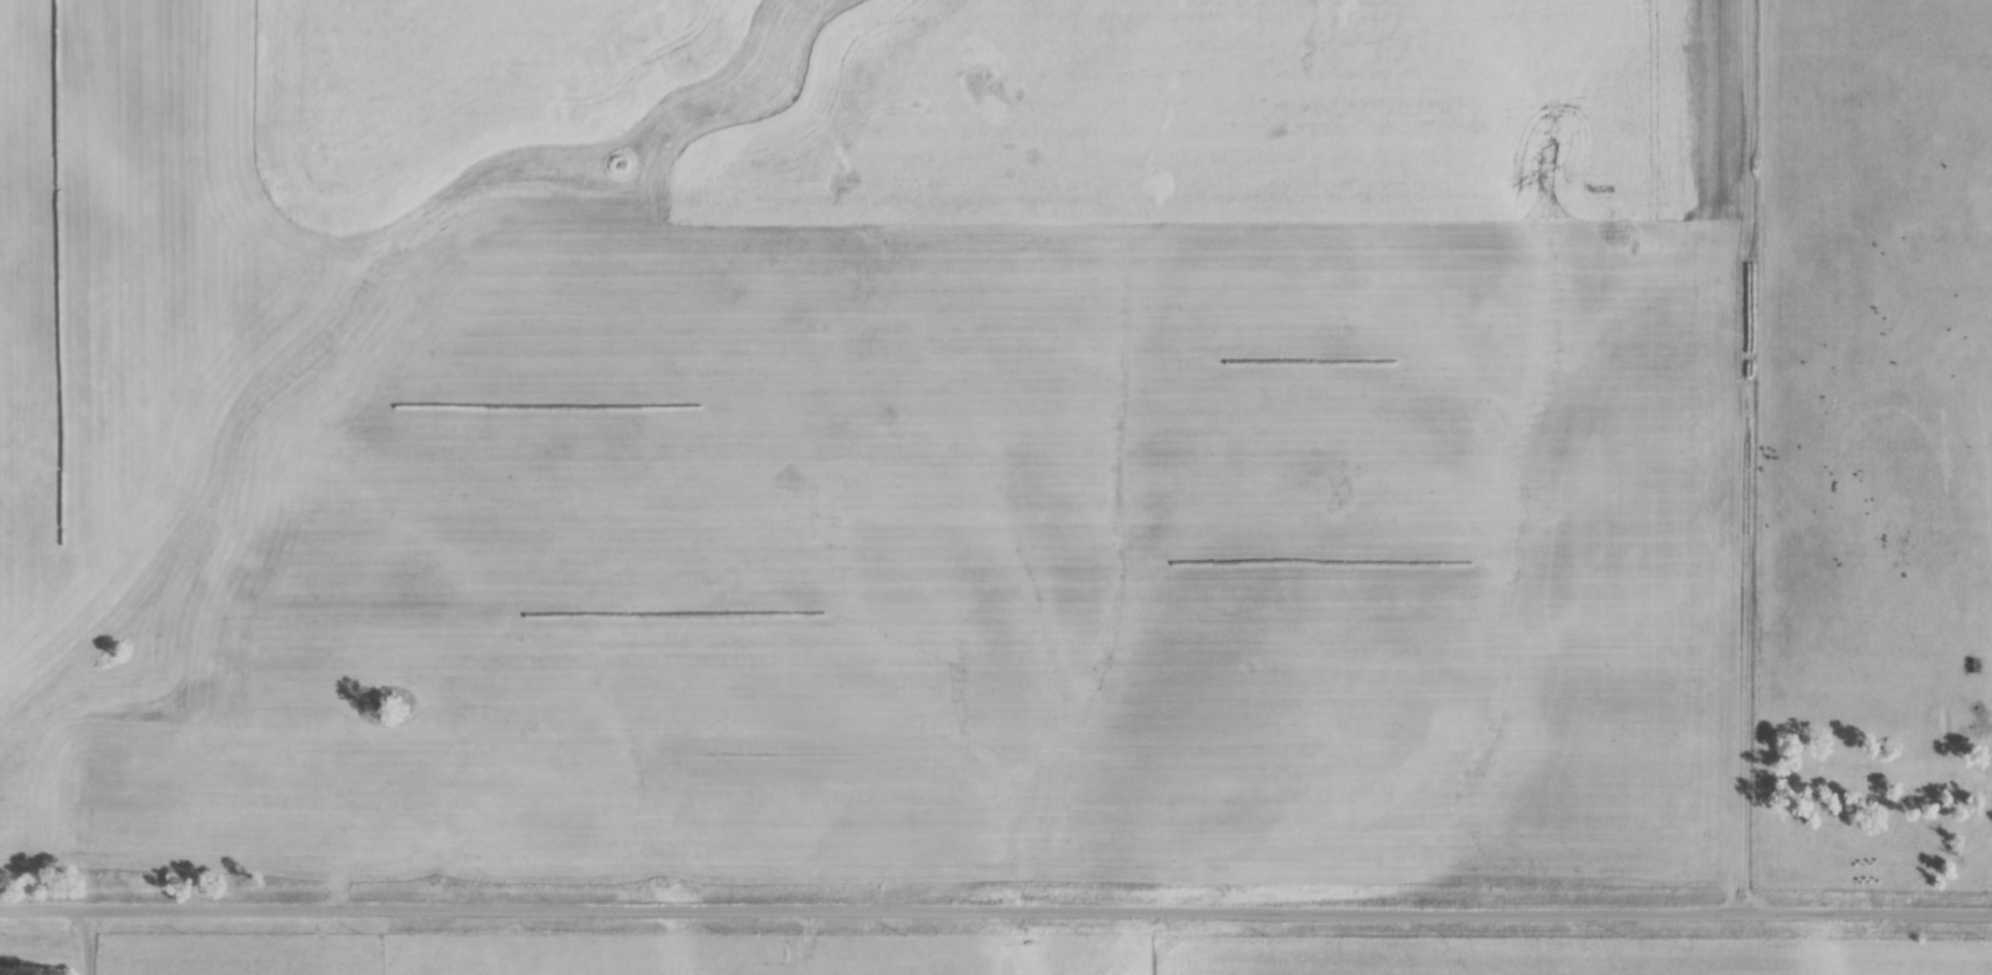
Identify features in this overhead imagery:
road: (996, 908)
road: (88, 940)

